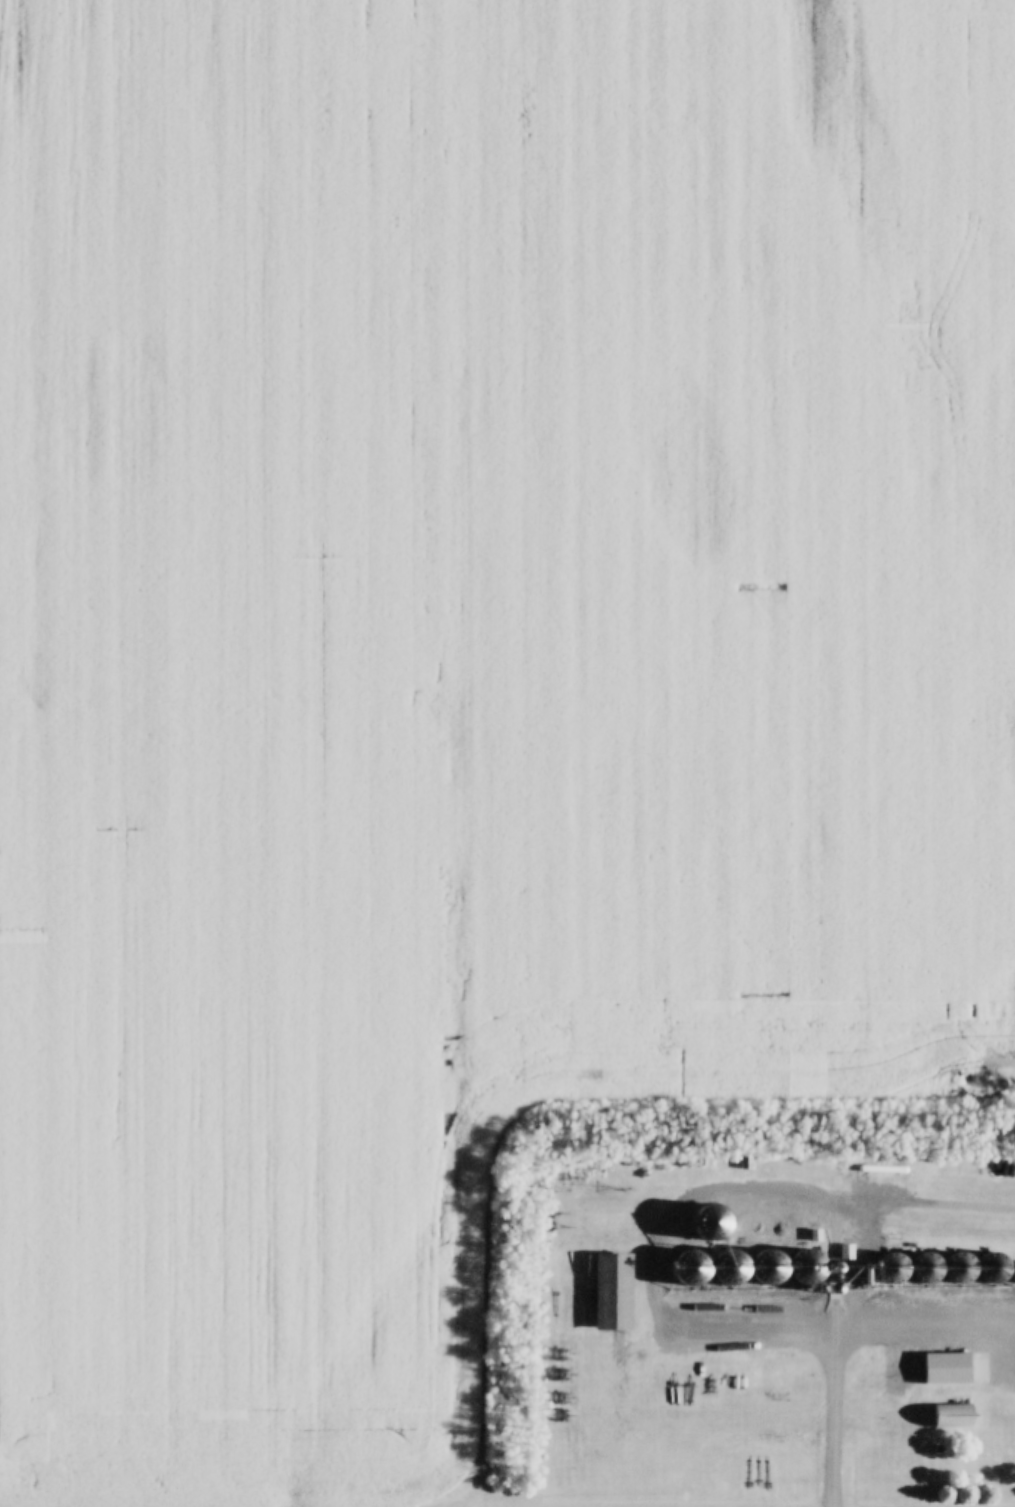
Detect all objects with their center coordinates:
building: (675, 1184)
building: (857, 1265)
building: (723, 1269)
silo: (723, 1269)
building: (761, 1269)
silo: (761, 1269)
building: (801, 1269)
silo: (801, 1269)
building: (988, 1269)
silo: (988, 1269)
building: (920, 1270)
silo: (920, 1270)
building: (954, 1270)
silo: (954, 1270)
building: (839, 1271)
building: (887, 1271)
silo: (887, 1271)
building: (1011, 1275)
silo: (1011, 1275)
building: (824, 1280)
silo: (824, 1280)
building: (856, 1281)
silo: (856, 1281)
building: (677, 1292)
building: (605, 1293)
road: (817, 1326)
building: (938, 1370)
building: (946, 1416)
building: (932, 1450)

